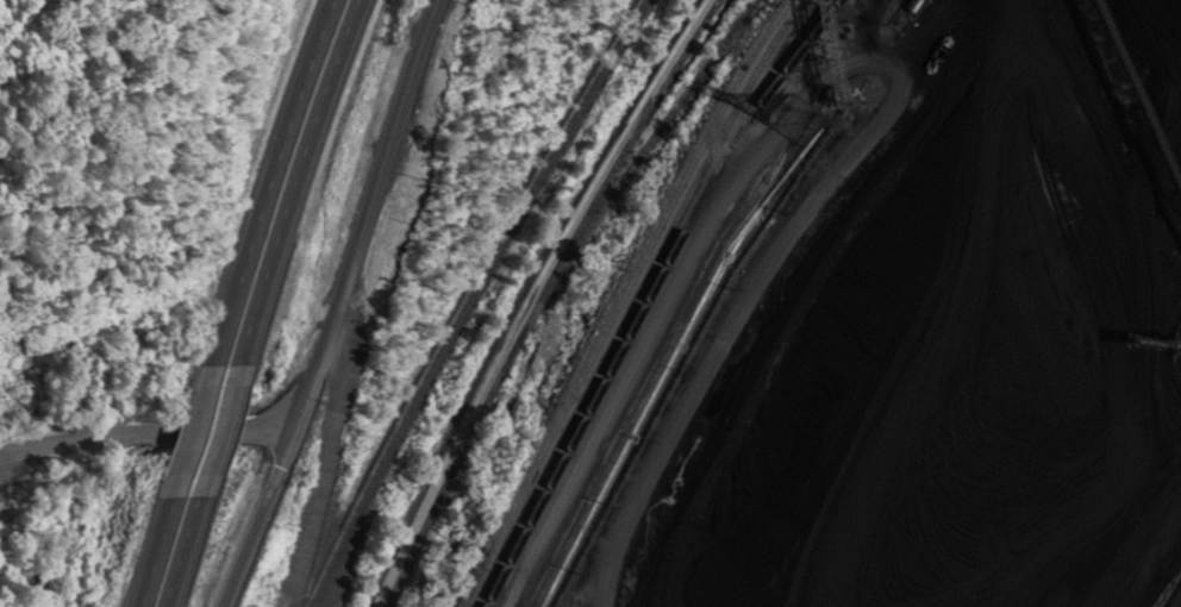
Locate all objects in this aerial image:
road: (855, 56)
power tower: (806, 115)
railway: (657, 129)
road: (269, 180)
road: (298, 181)
railway: (691, 190)
road: (371, 212)
railway: (646, 296)
railway: (463, 300)
railway: (540, 301)
railway: (618, 301)
power plant: (854, 309)
road: (149, 428)
road: (198, 428)
road: (229, 428)
road: (332, 461)
railway: (540, 469)
road: (264, 515)
road: (161, 550)
road: (192, 550)

